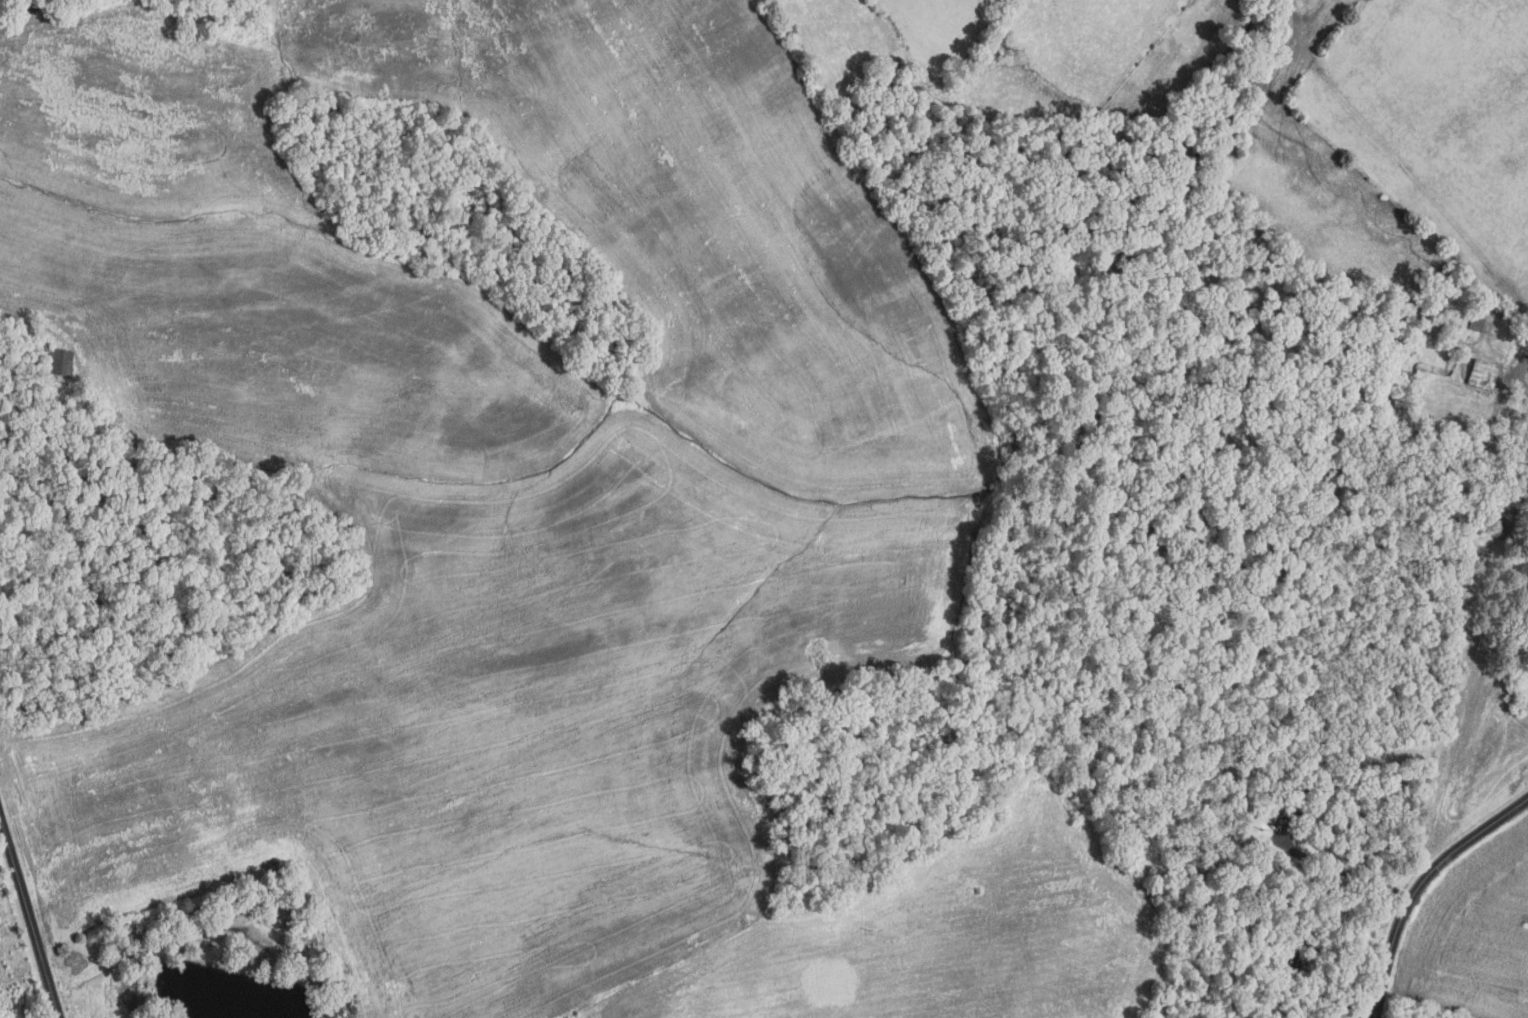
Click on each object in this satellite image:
road: (22, 14)
building: (1475, 324)
building: (59, 360)
building: (1527, 371)
building: (1481, 373)
crop: (488, 481)
building: (1496, 526)
building: (1291, 797)
road: (1331, 867)
road: (1418, 885)
road: (28, 923)
crop: (946, 934)
crop: (592, 1011)

